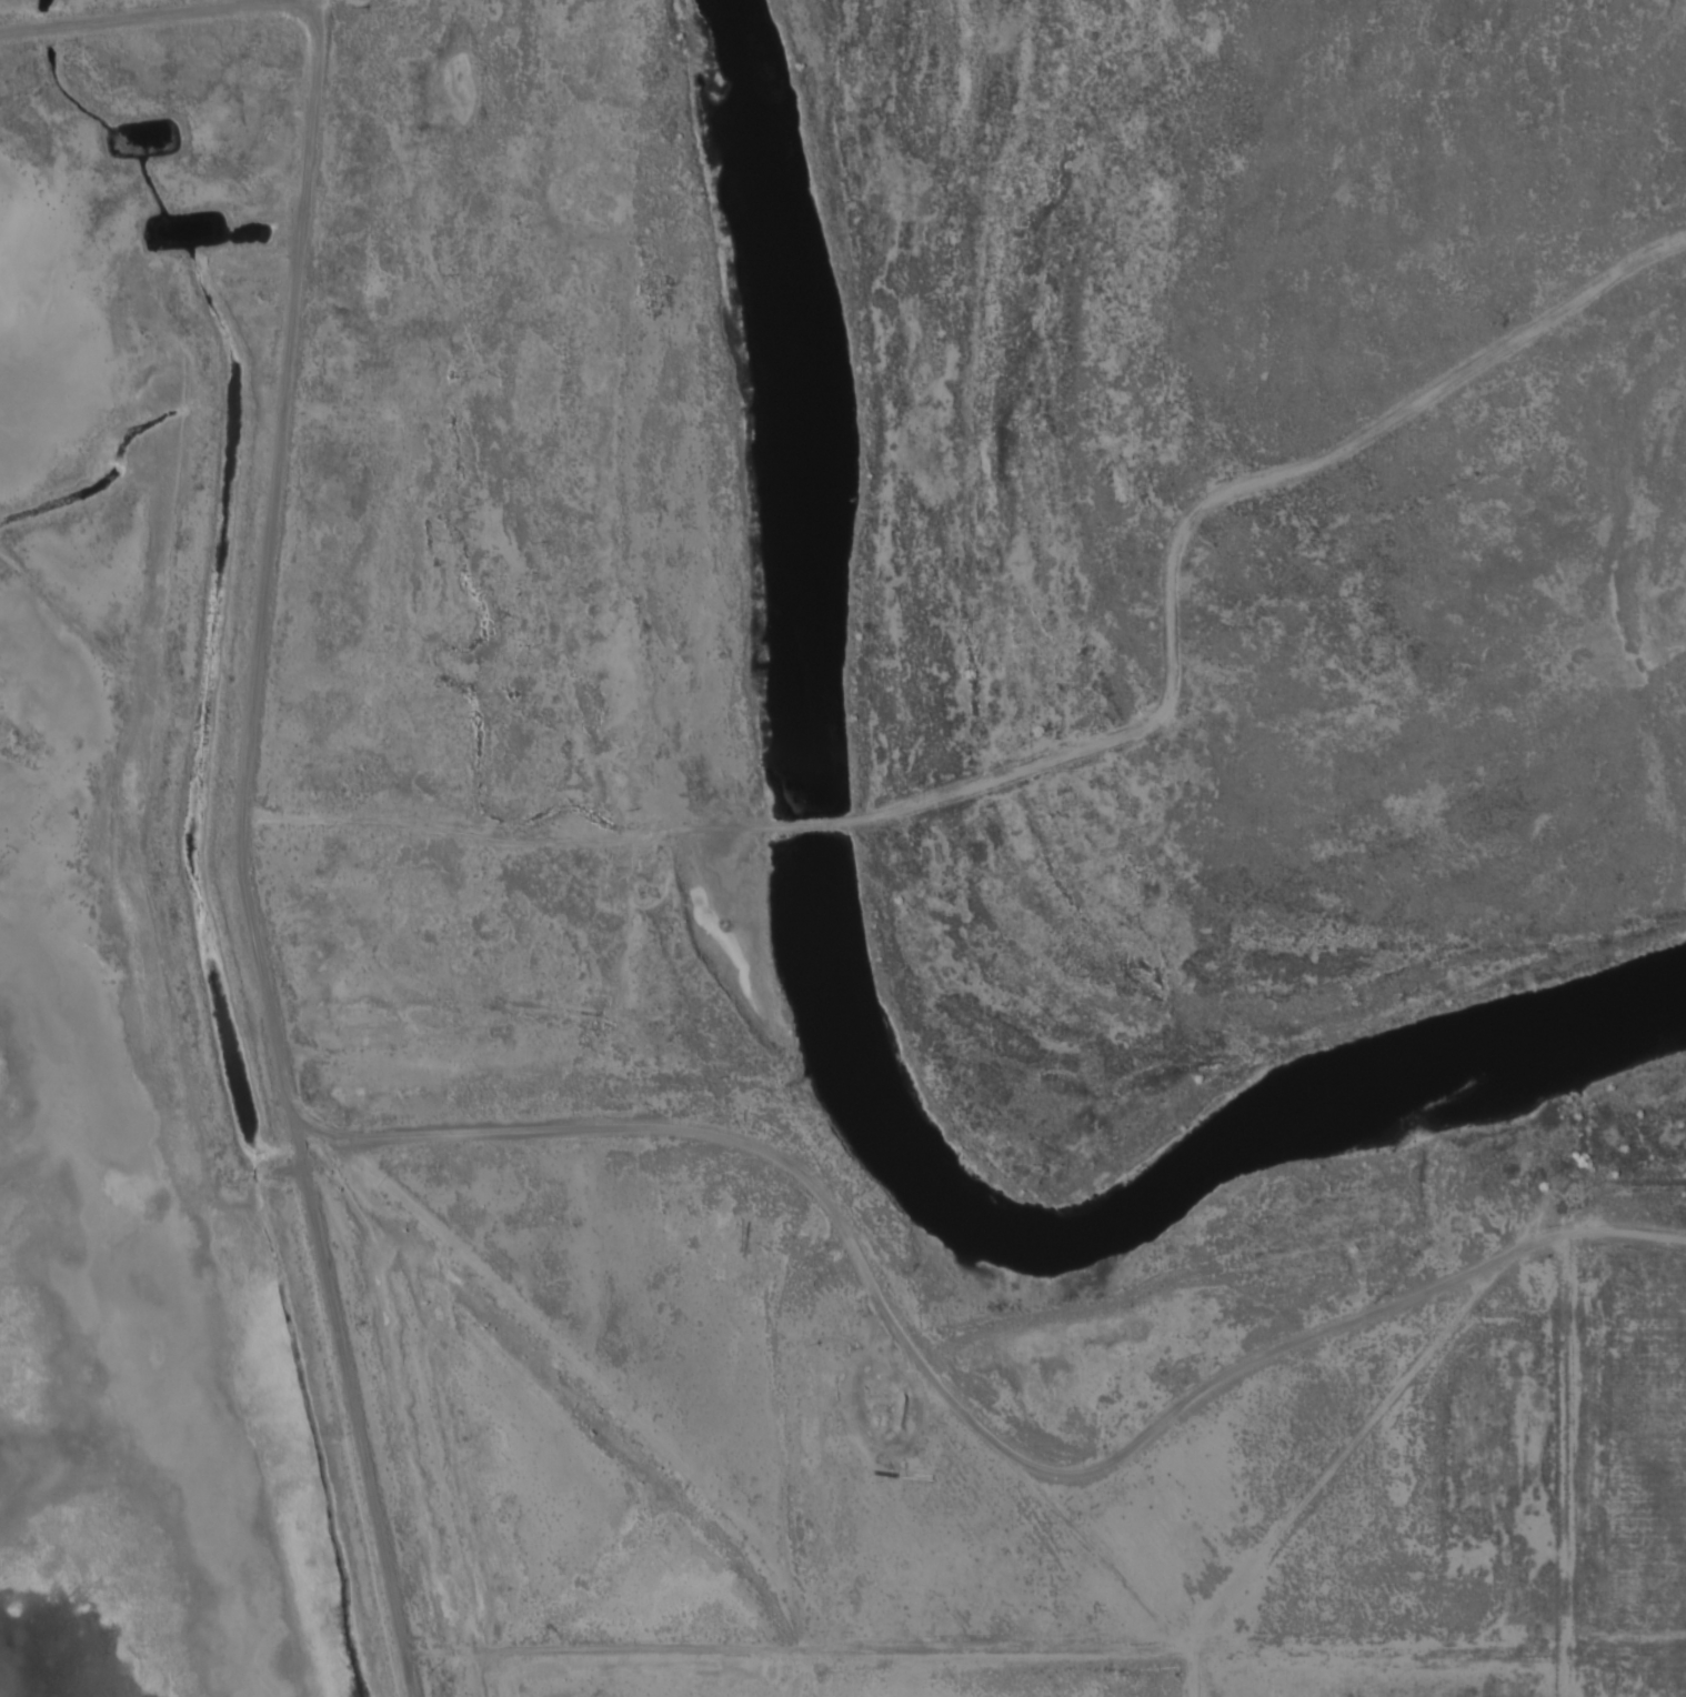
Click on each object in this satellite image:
road: (163, 36)
road: (283, 855)

